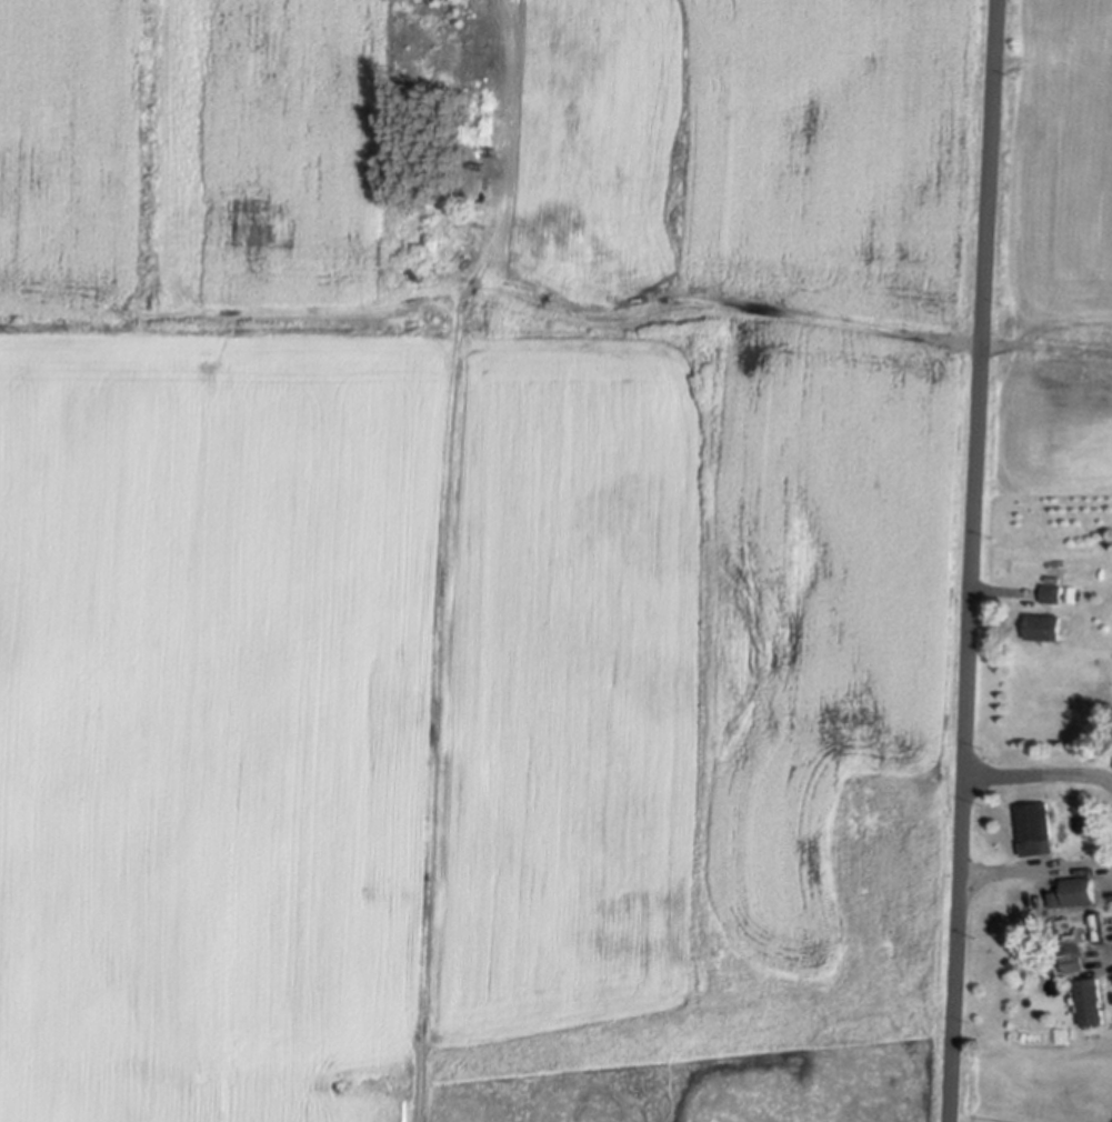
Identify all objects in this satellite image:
road: (969, 560)
building: (1051, 591)
building: (1042, 624)
road: (1036, 770)
building: (1034, 827)
building: (1074, 890)
building: (1070, 954)
building: (1089, 999)

